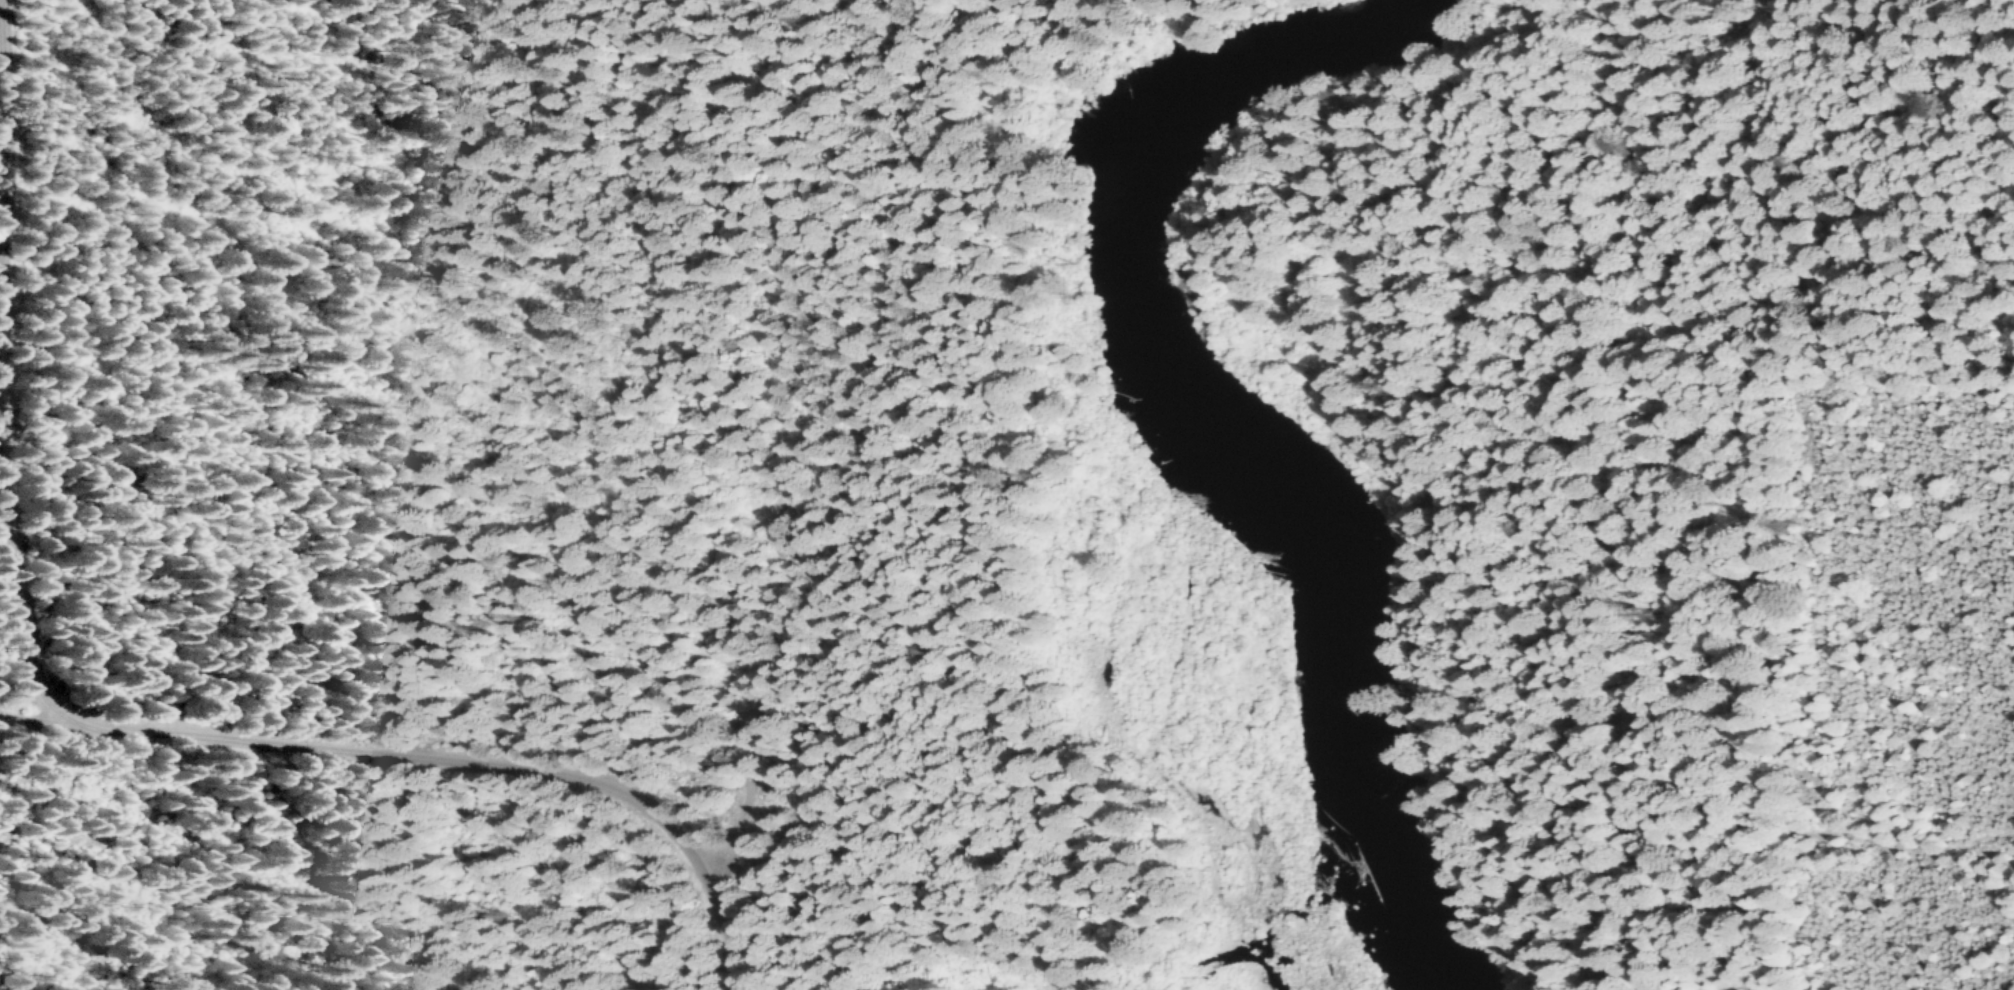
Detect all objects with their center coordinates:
road: (1375, 377)
river: (1224, 420)
road: (45, 720)
road: (371, 751)
road: (1913, 850)

